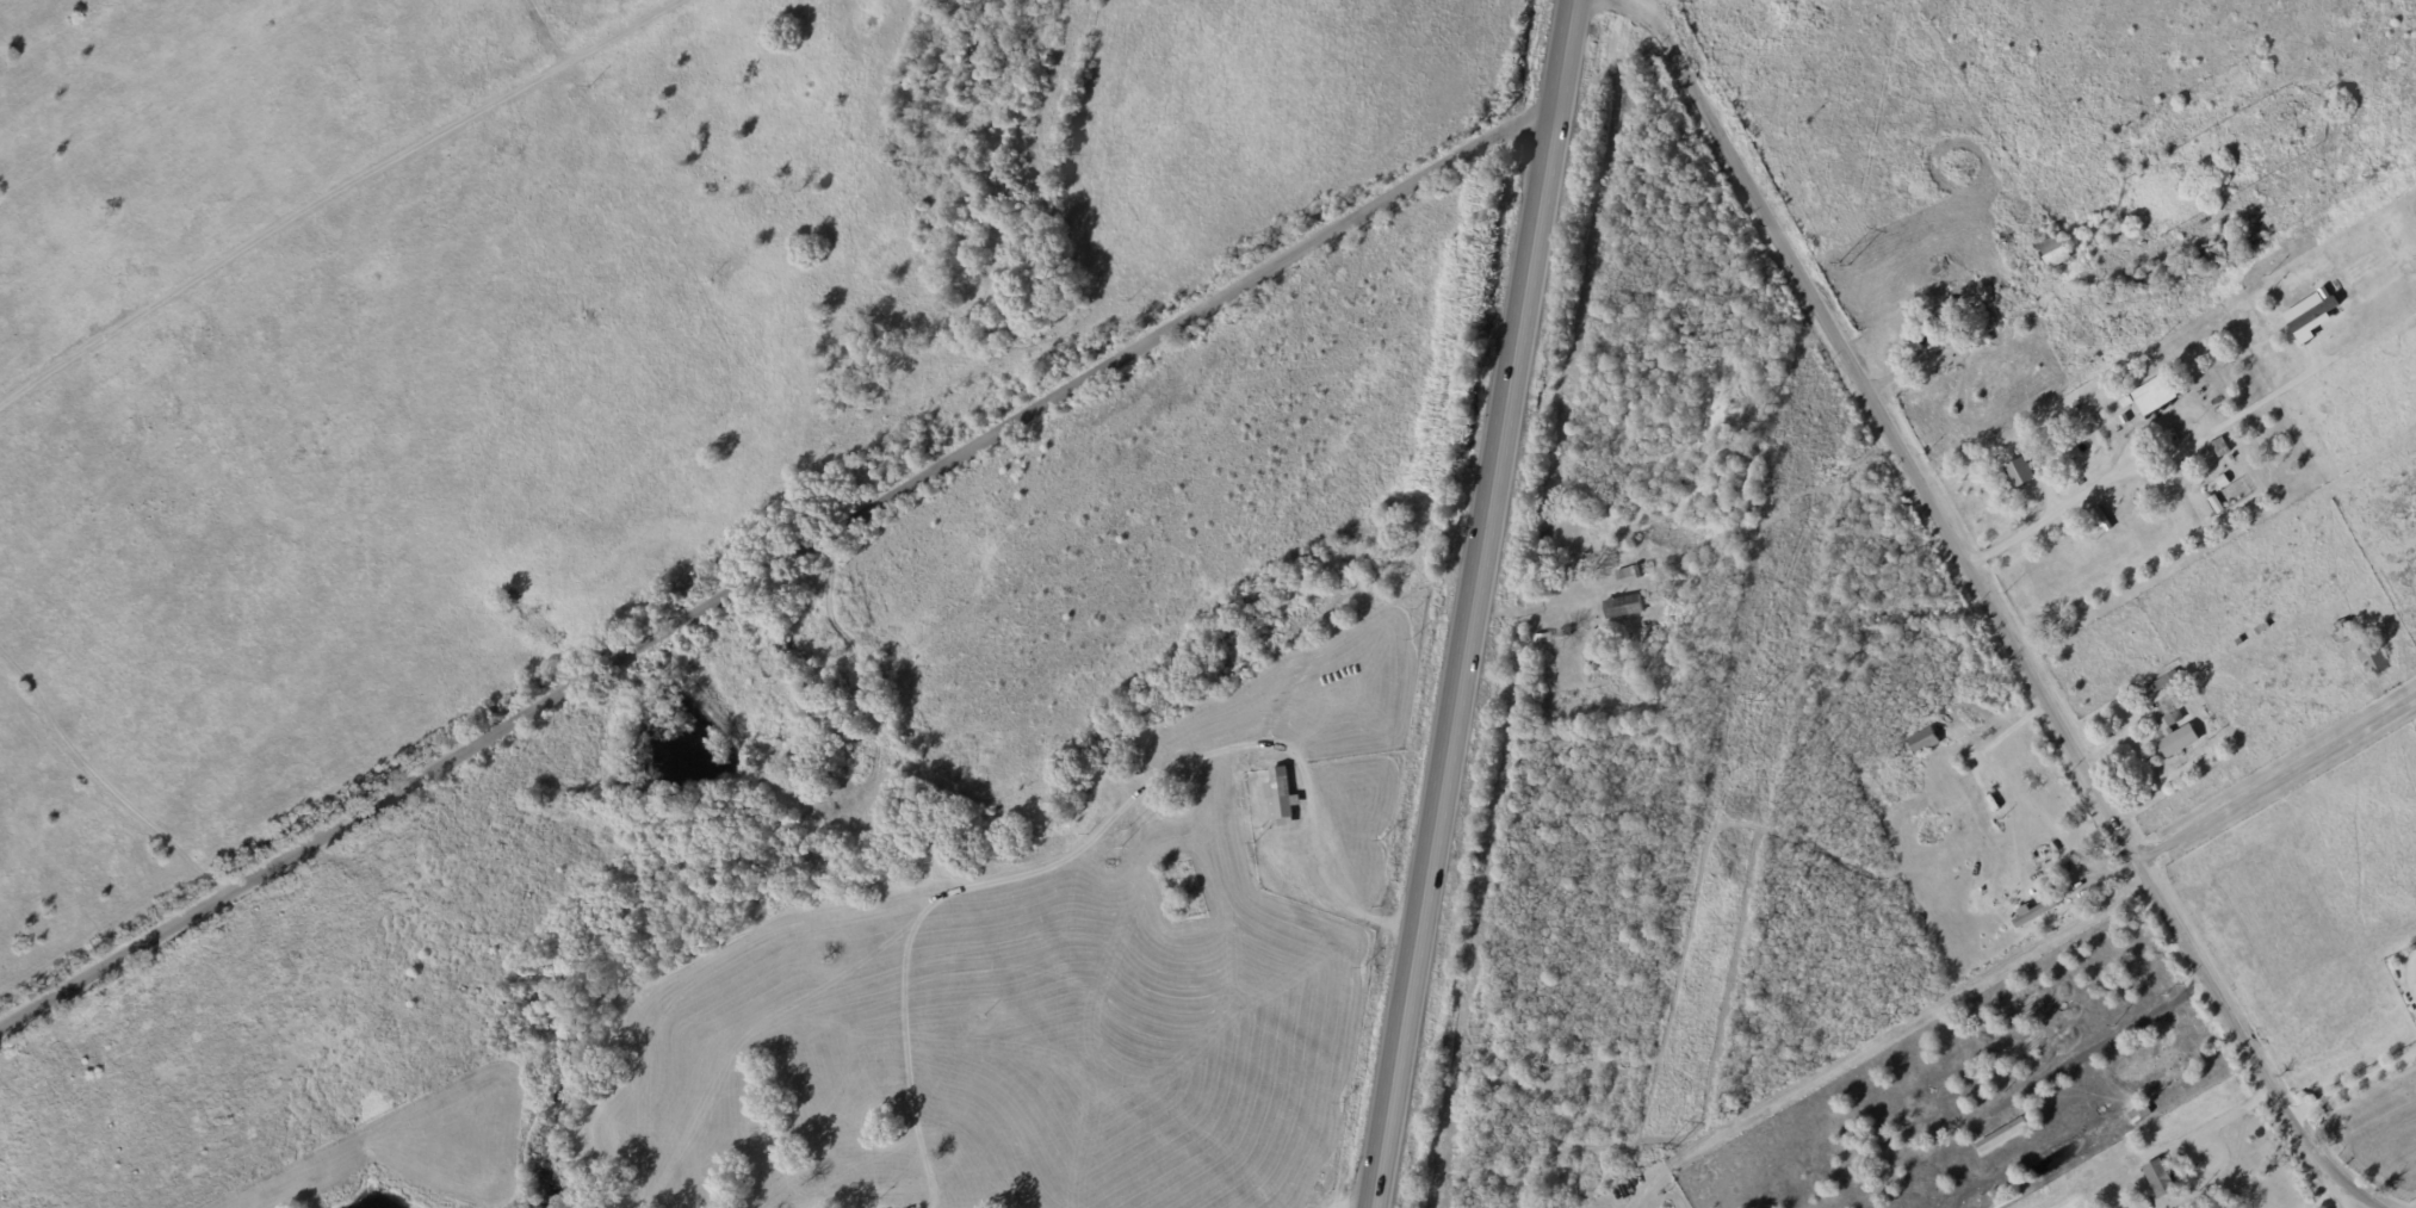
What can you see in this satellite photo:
road: (1534, 221)
building: (2055, 250)
power tower: (1841, 268)
building: (1941, 315)
building: (2311, 315)
building: (2154, 395)
road: (2237, 413)
building: (2220, 447)
building: (2020, 475)
road: (2064, 506)
road: (773, 569)
building: (1629, 574)
road: (1987, 603)
building: (1623, 607)
power tower: (1757, 700)
building: (2174, 733)
building: (1923, 741)
road: (2275, 780)
road: (104, 799)
building: (1281, 799)
road: (1433, 825)
building: (2034, 912)
road: (2350, 1083)
road: (2213, 1122)
building: (2002, 1136)
power tower: (1668, 1148)
building: (2158, 1178)
road: (2328, 1194)
road: (2344, 1195)
road: (1357, 1202)

